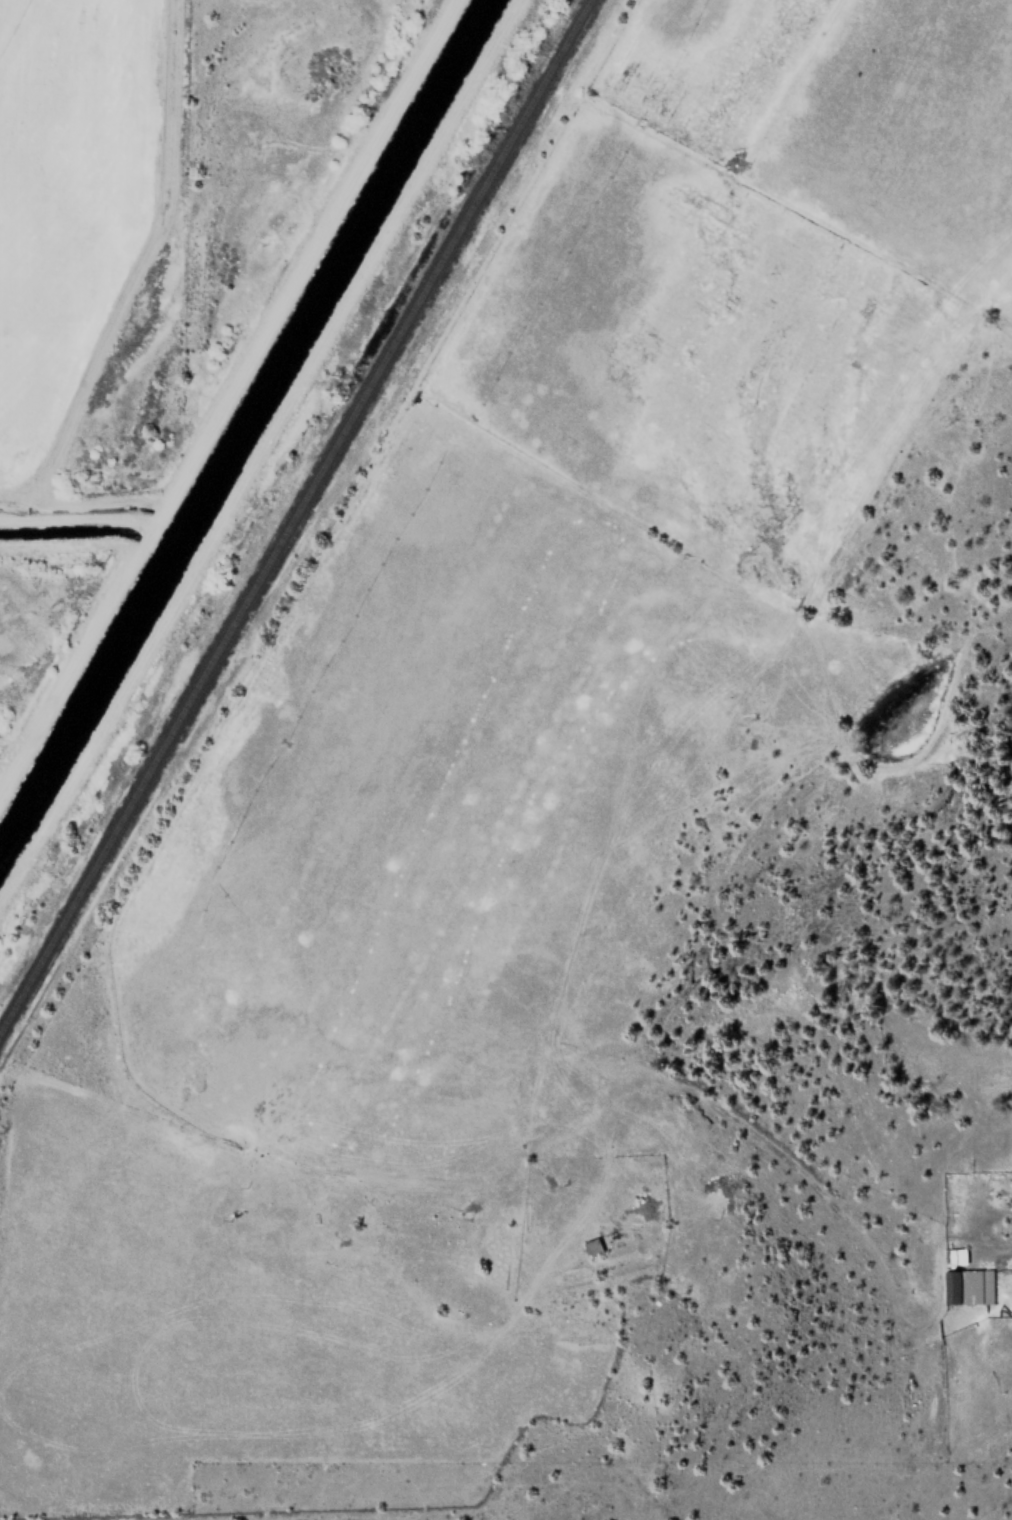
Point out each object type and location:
crop: (22, 42)
railway: (295, 516)
building: (591, 1247)
building: (963, 1280)

